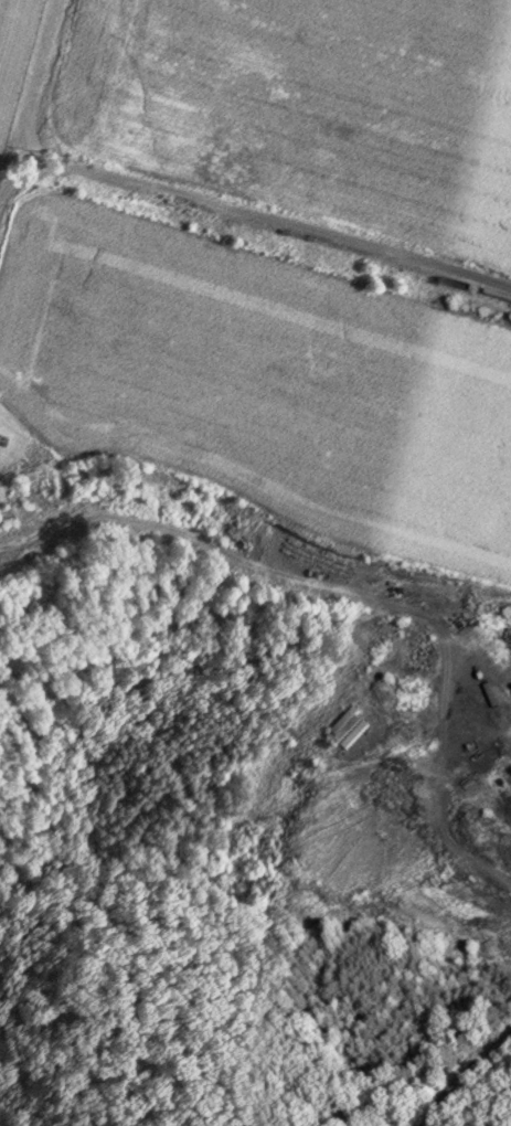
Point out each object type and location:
road: (249, 213)
road: (227, 552)
road: (414, 726)

